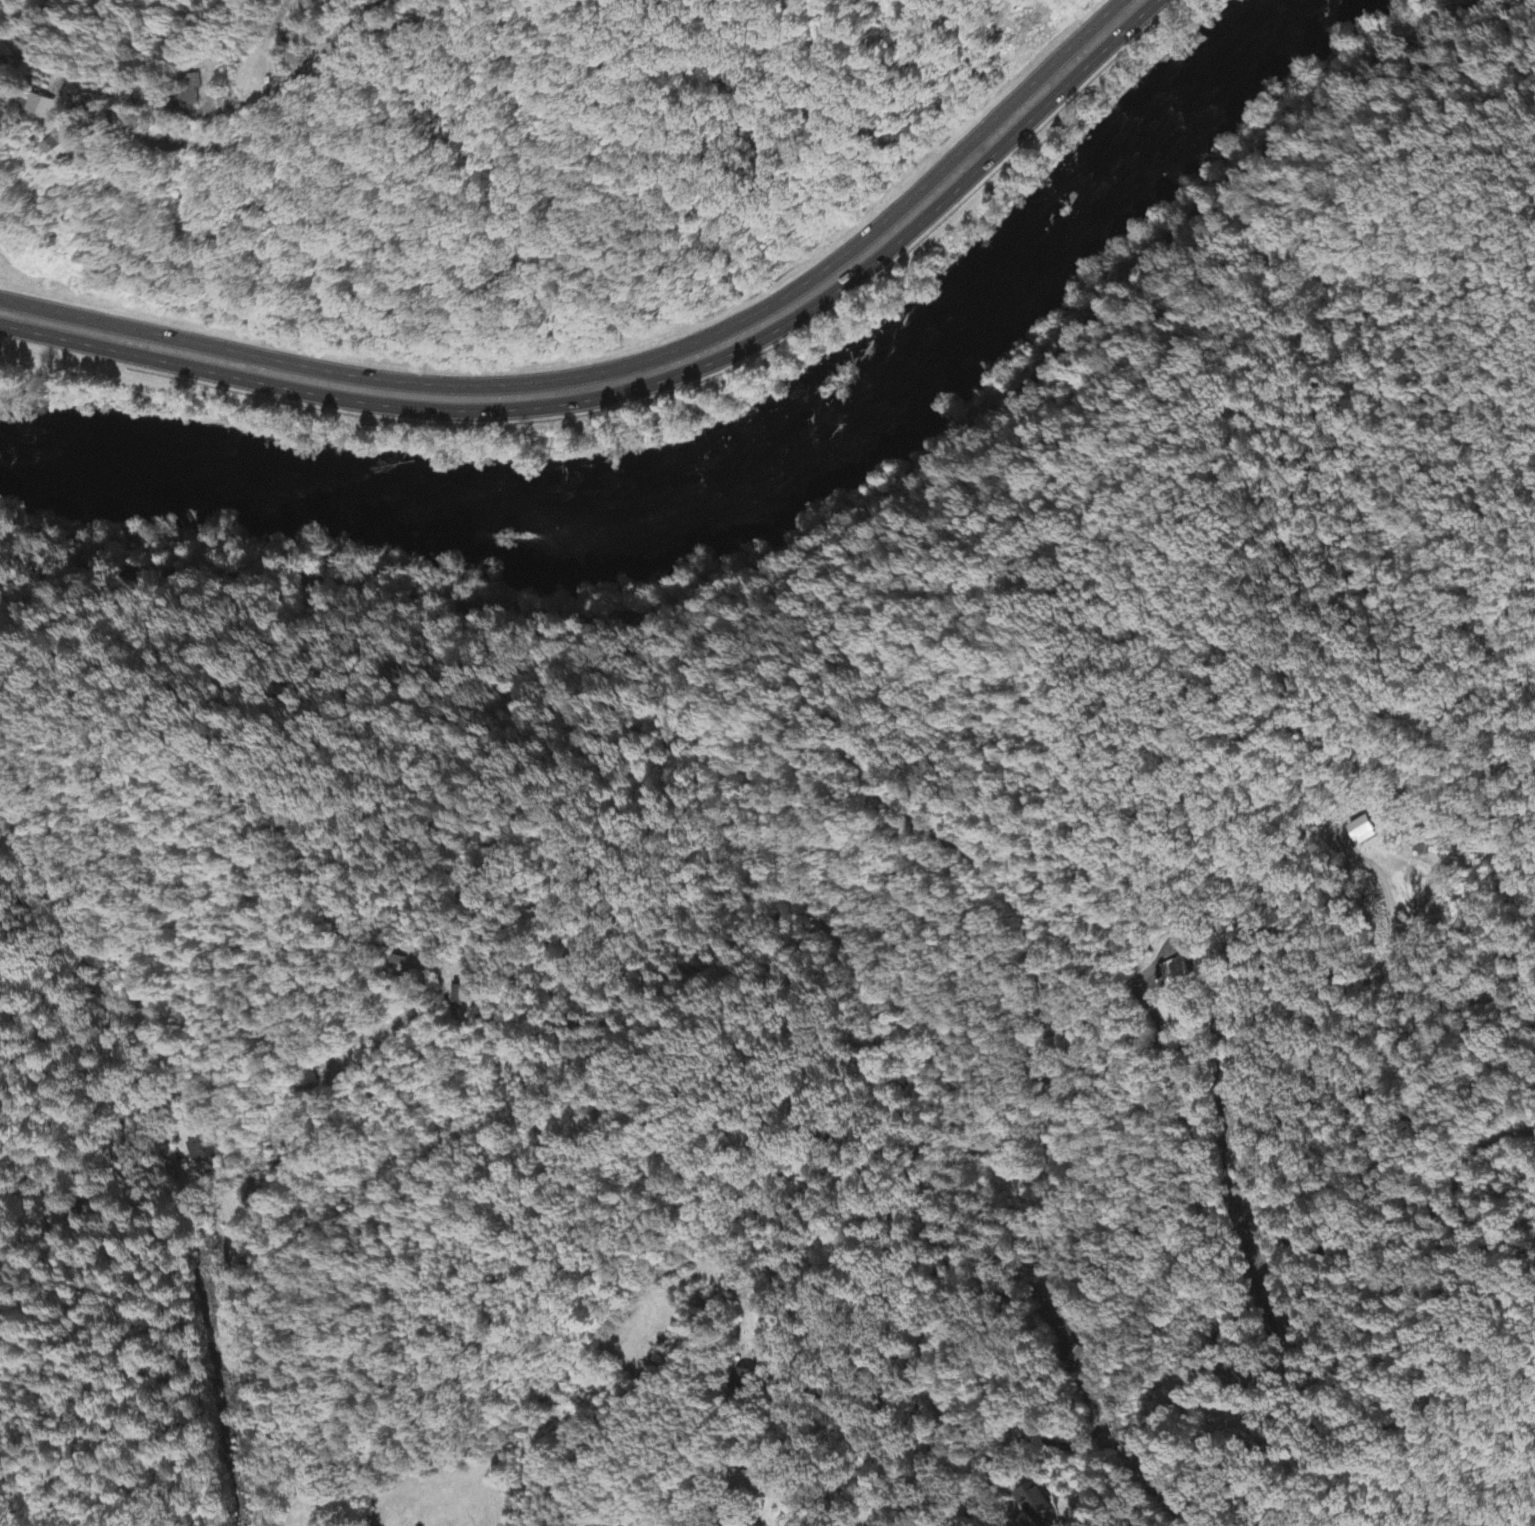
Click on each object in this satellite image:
building: (313, 42)
building: (193, 91)
building: (42, 107)
building: (60, 149)
road: (618, 365)
road: (640, 385)
river: (742, 474)
railway: (823, 522)
building: (1361, 829)
building: (1178, 972)
building: (464, 997)
road: (1174, 1052)
building: (200, 1149)
road: (221, 1215)
building: (748, 1379)
building: (751, 1482)
building: (1034, 1502)

